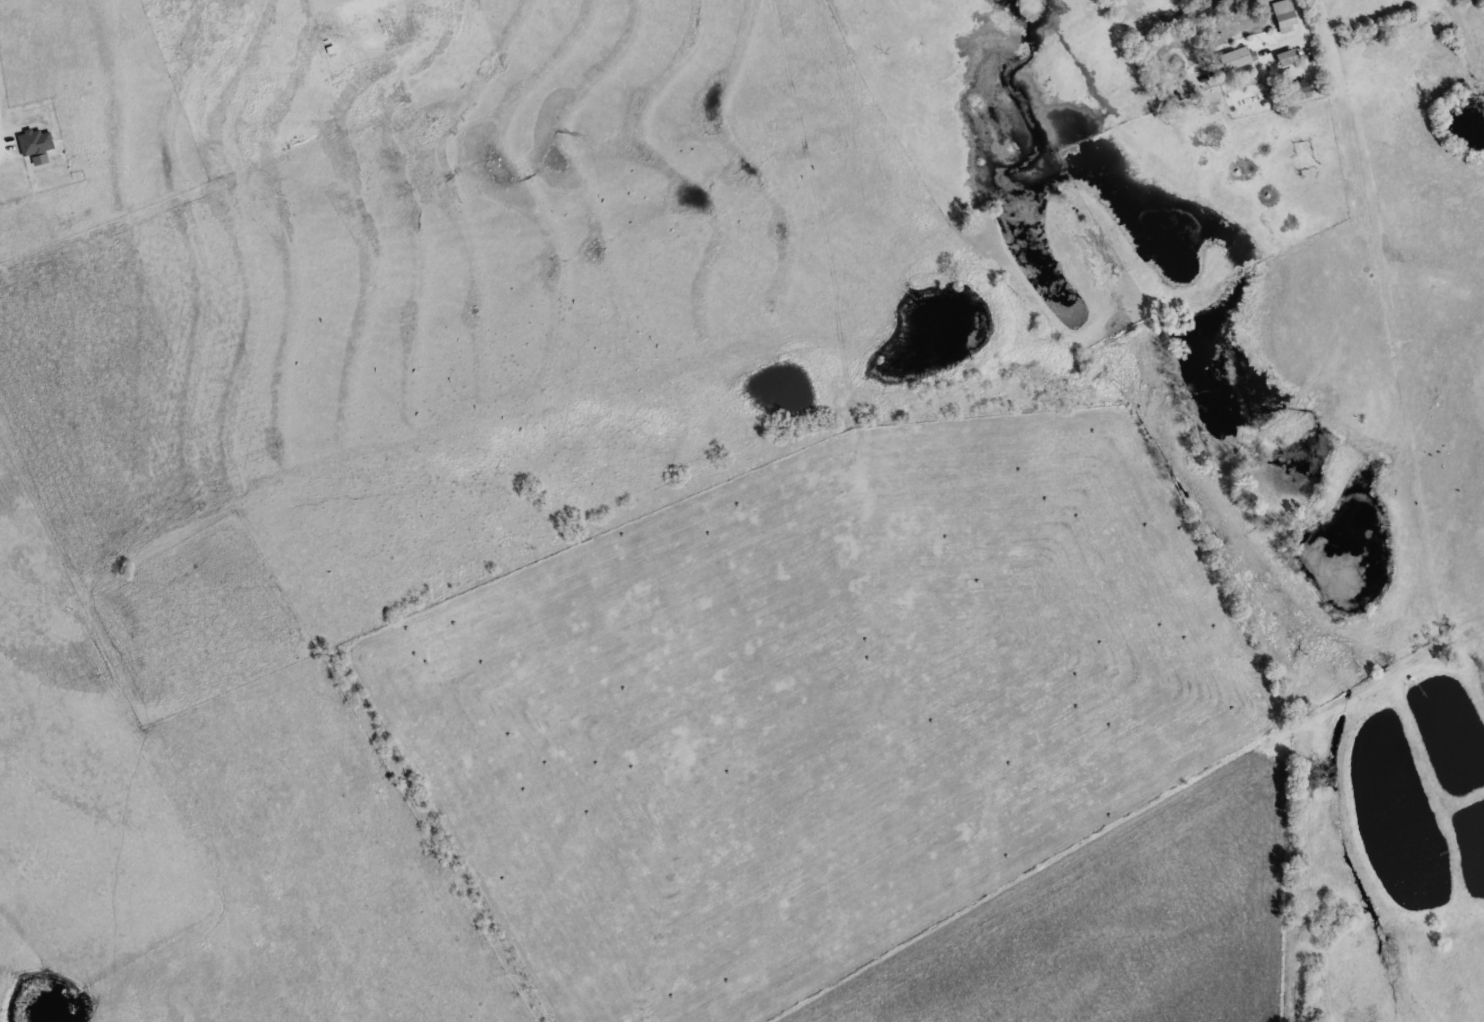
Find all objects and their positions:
building: (1285, 14)
building: (1236, 58)
building: (1288, 58)
building: (1302, 88)
building: (38, 140)

